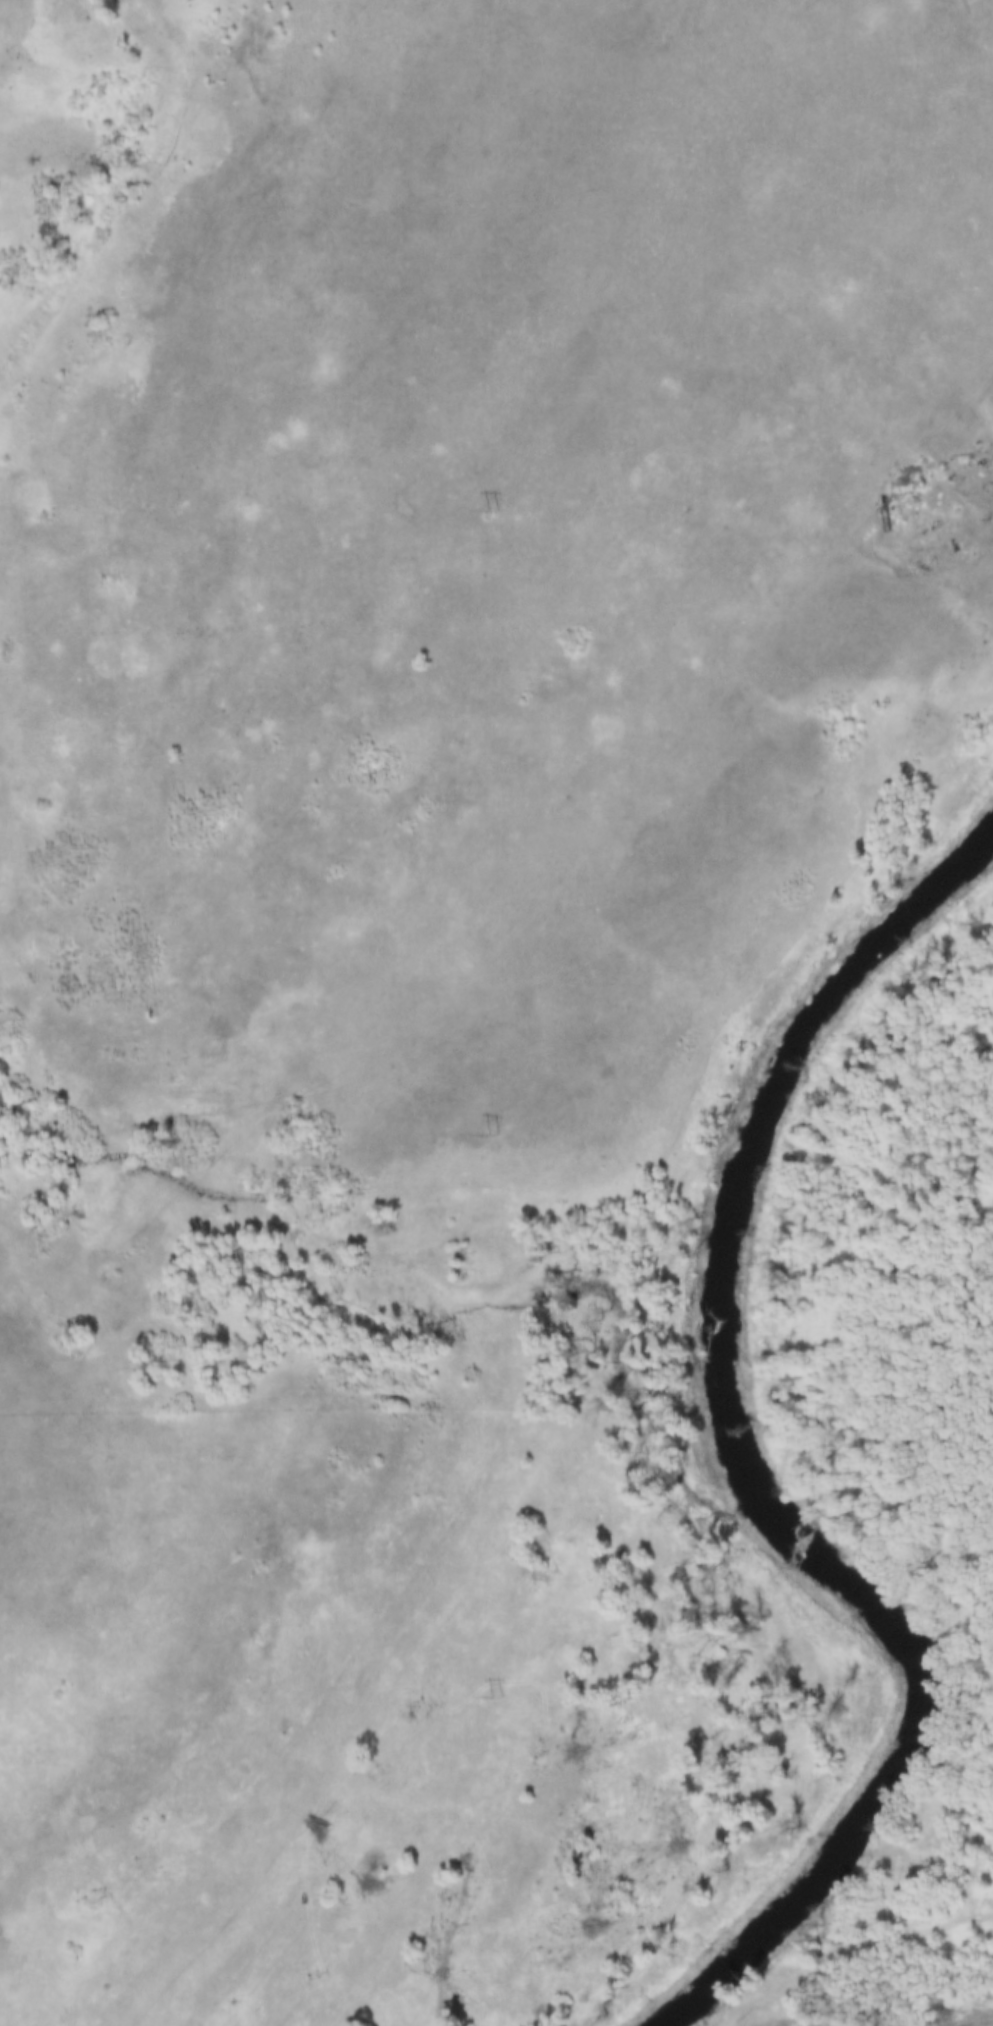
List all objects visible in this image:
power tower: (493, 511)
power tower: (494, 1135)
river: (733, 1465)
power tower: (493, 1695)

